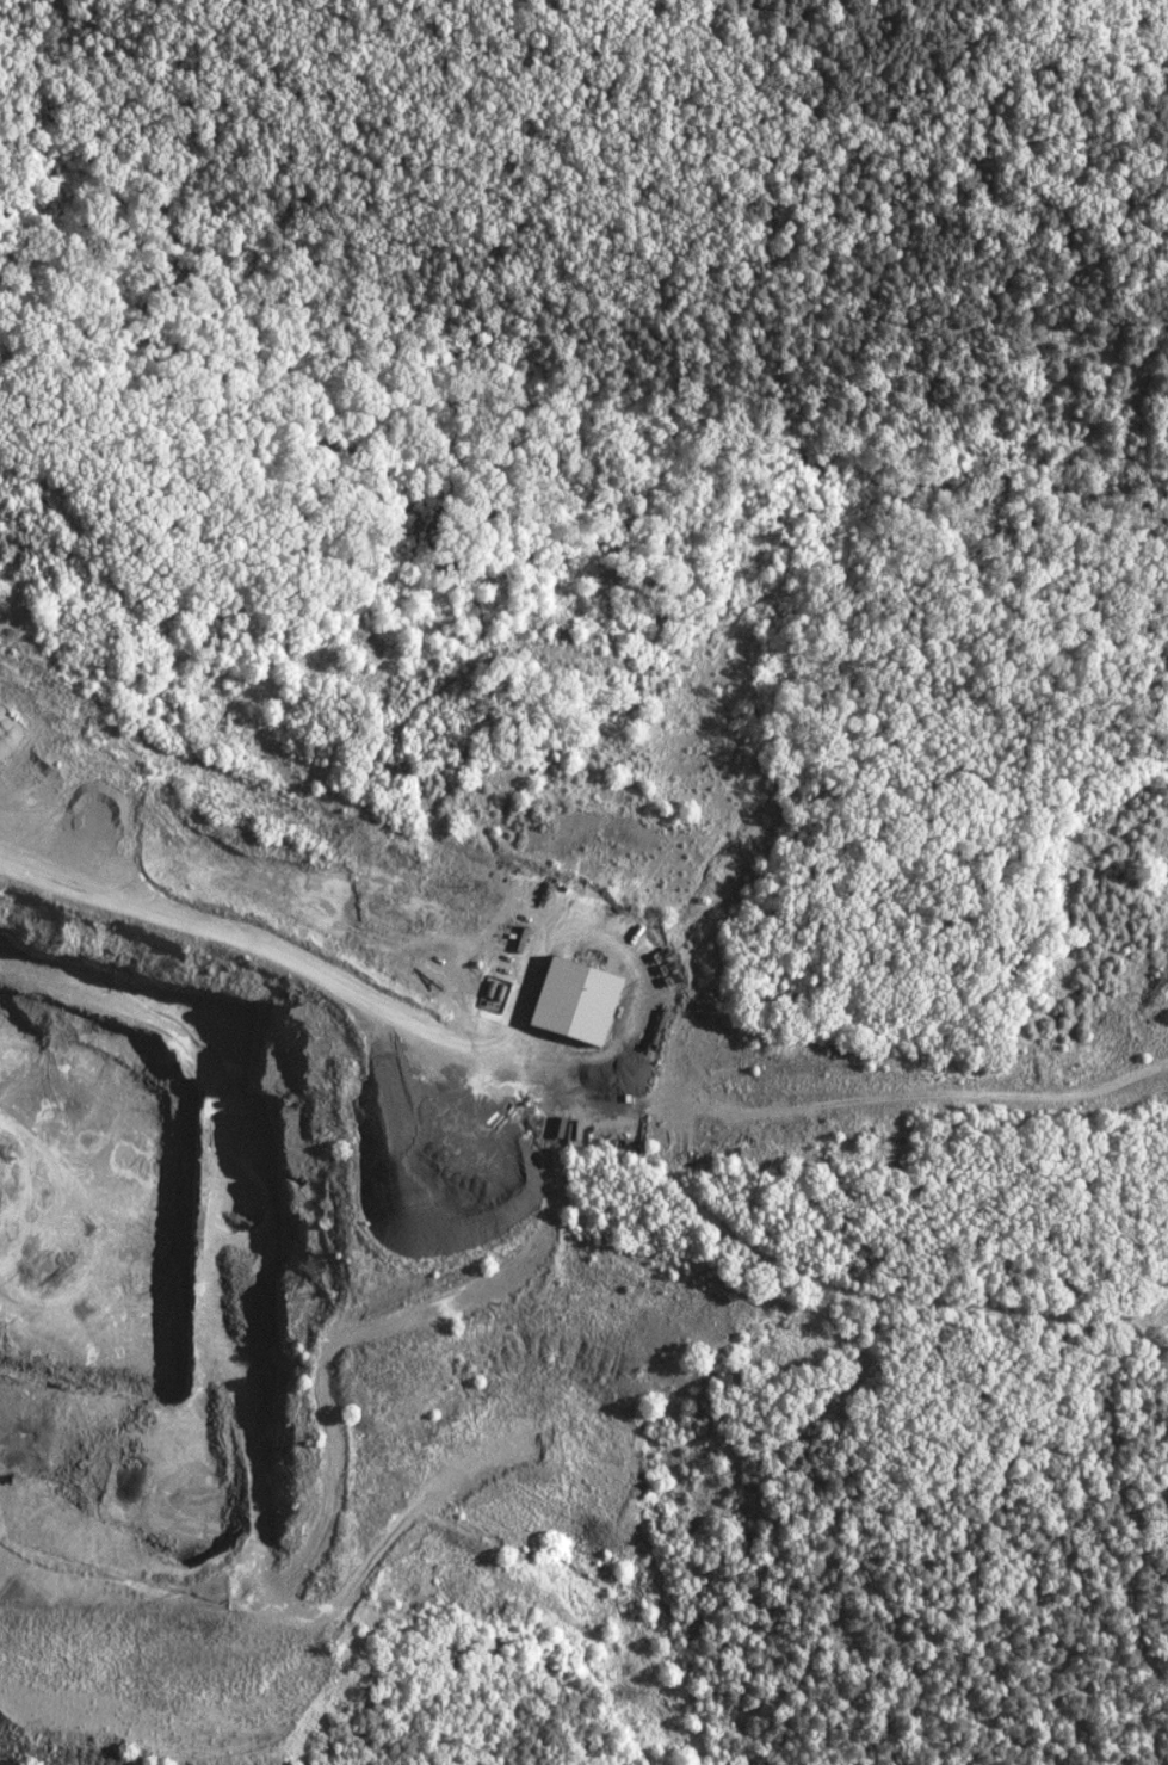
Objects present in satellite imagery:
road: (132, 7)

